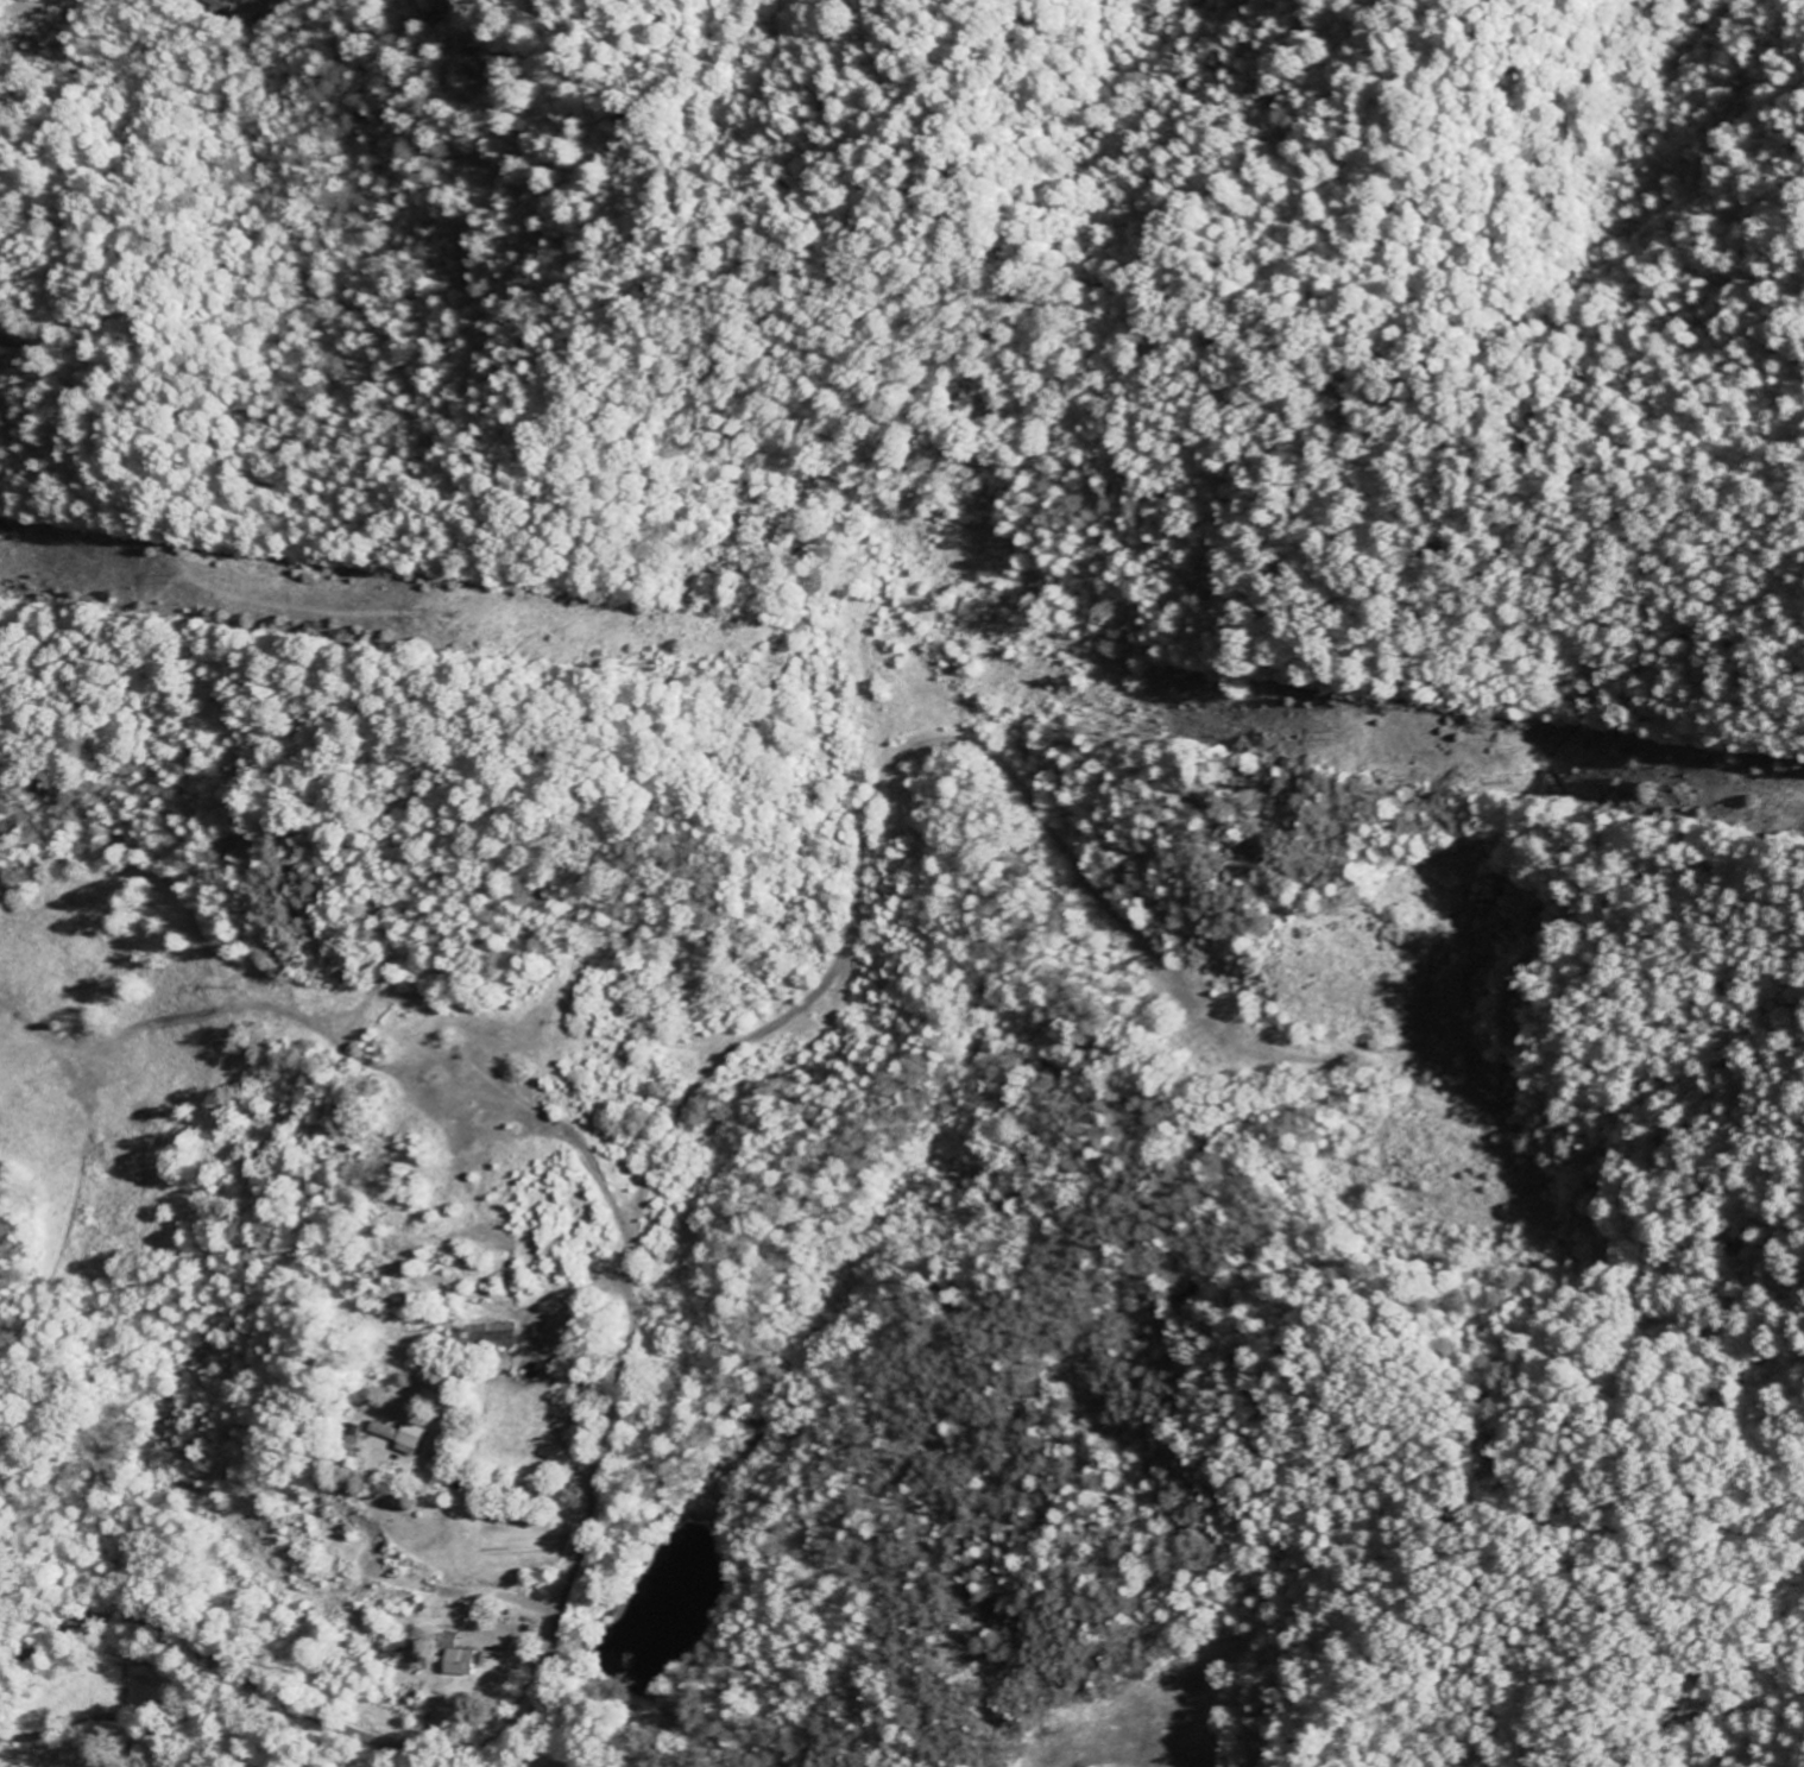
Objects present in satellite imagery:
road: (767, 1029)
building: (485, 1334)
road: (24, 1659)
building: (468, 1661)
road: (246, 1684)

